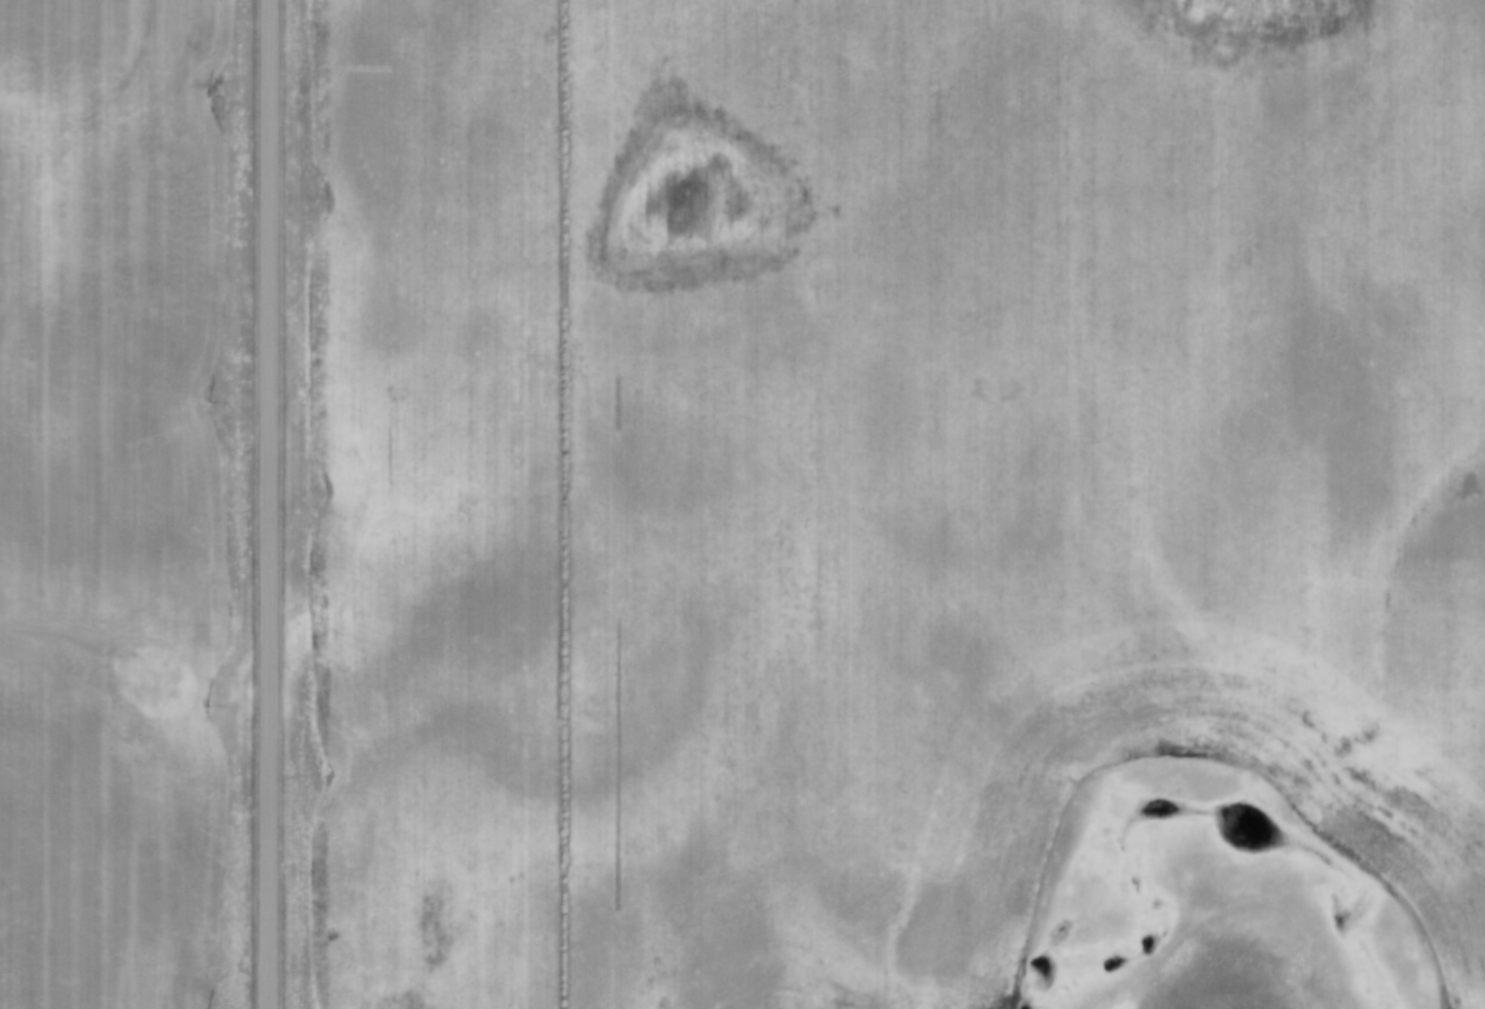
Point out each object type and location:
road: (272, 504)

